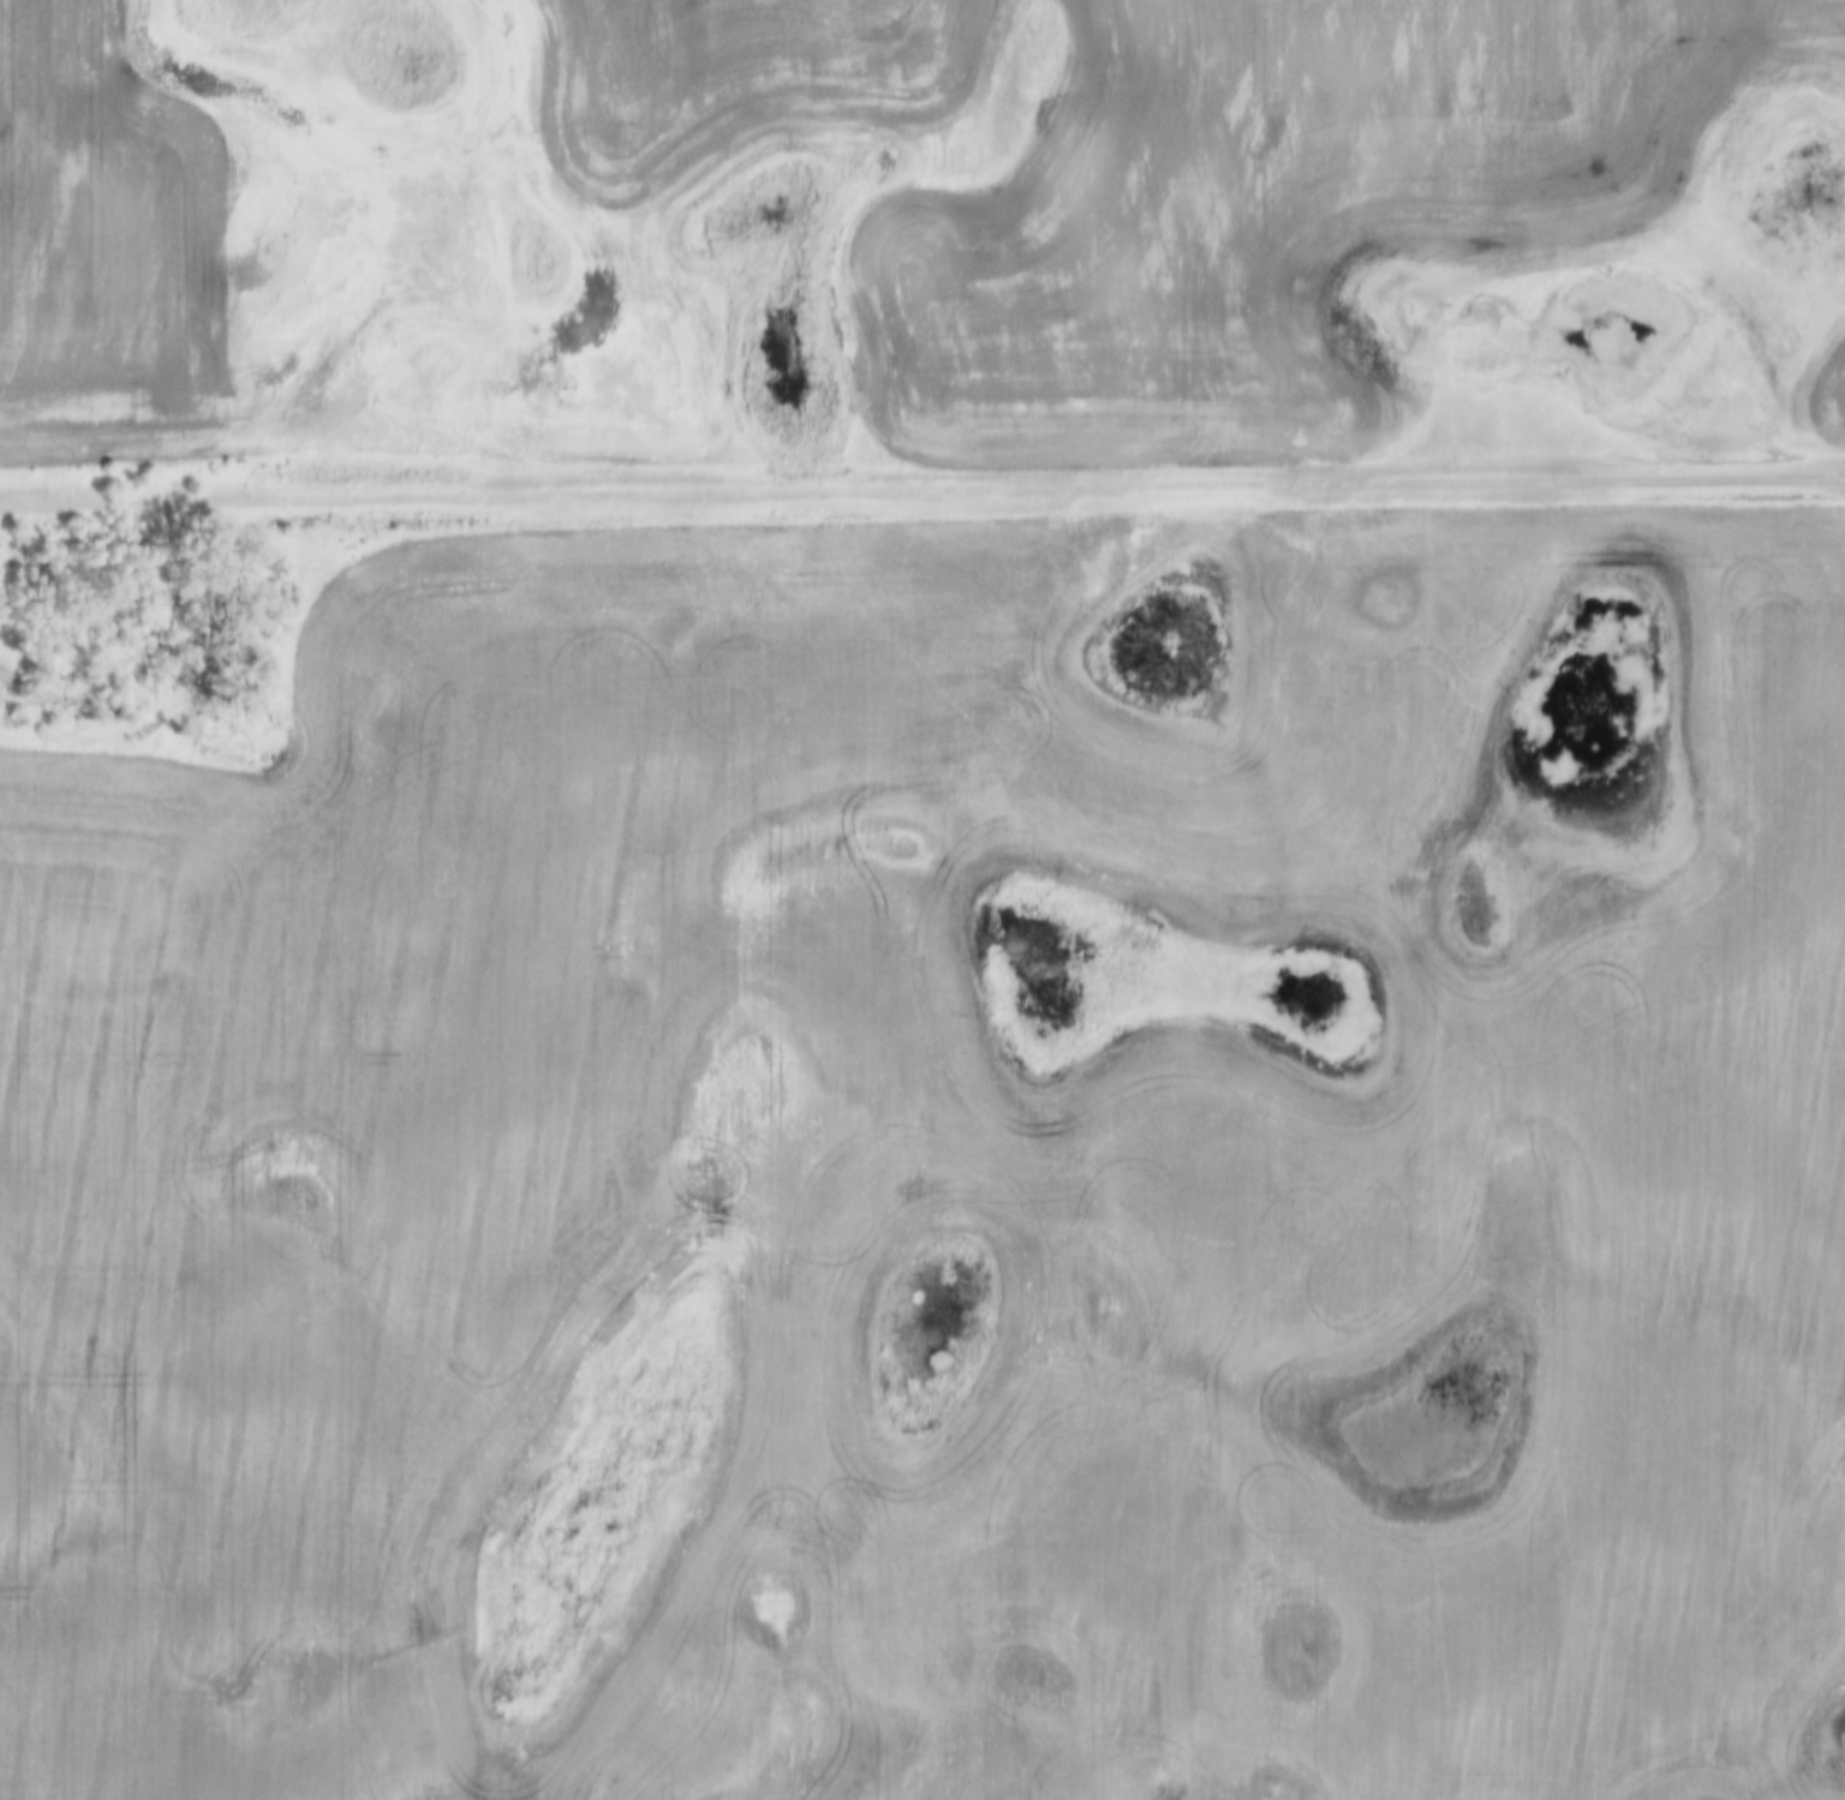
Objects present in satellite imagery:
road: (922, 496)
building: (73, 947)

